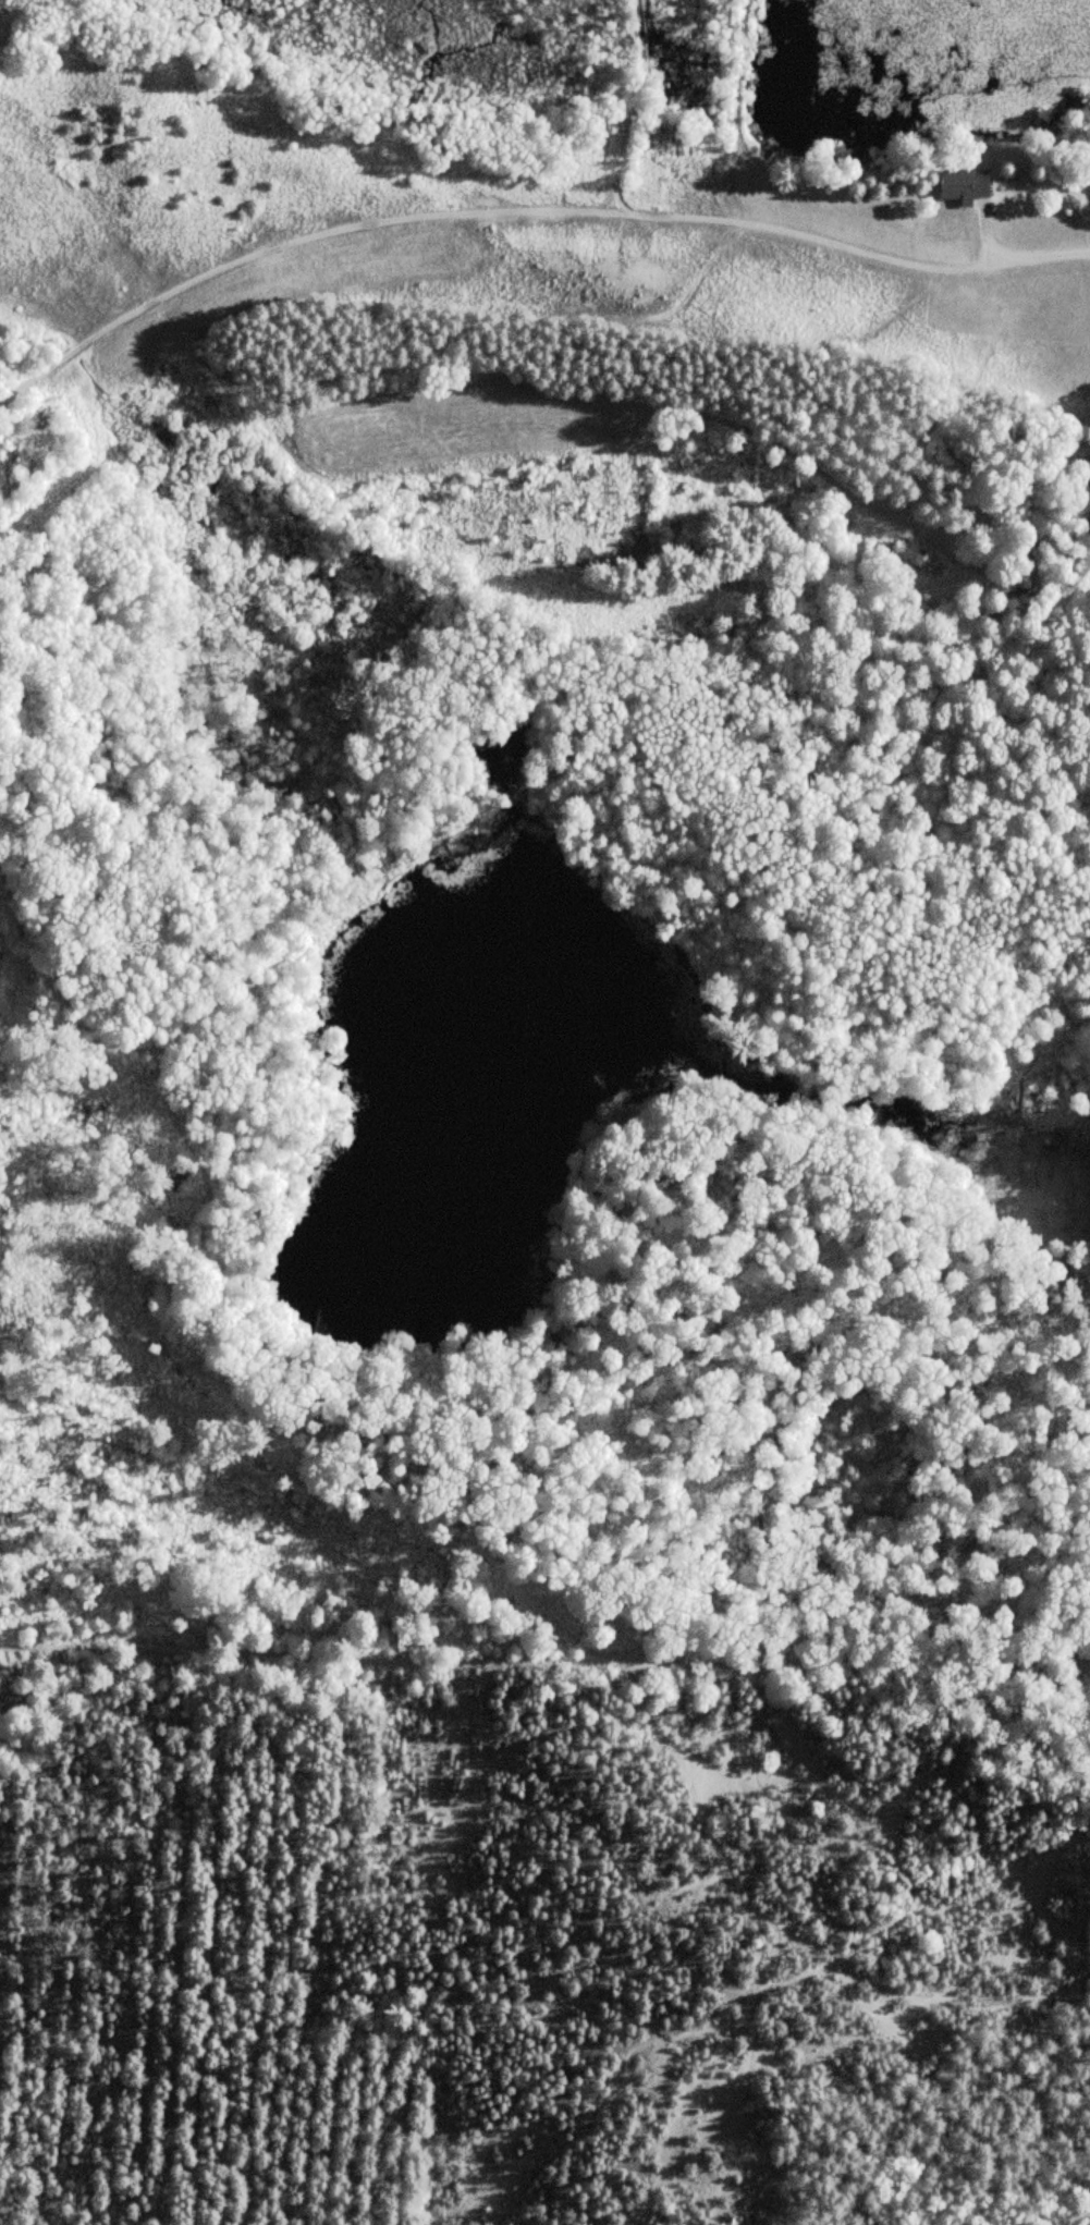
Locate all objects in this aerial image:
building: (962, 184)
road: (525, 213)
road: (544, 1660)

